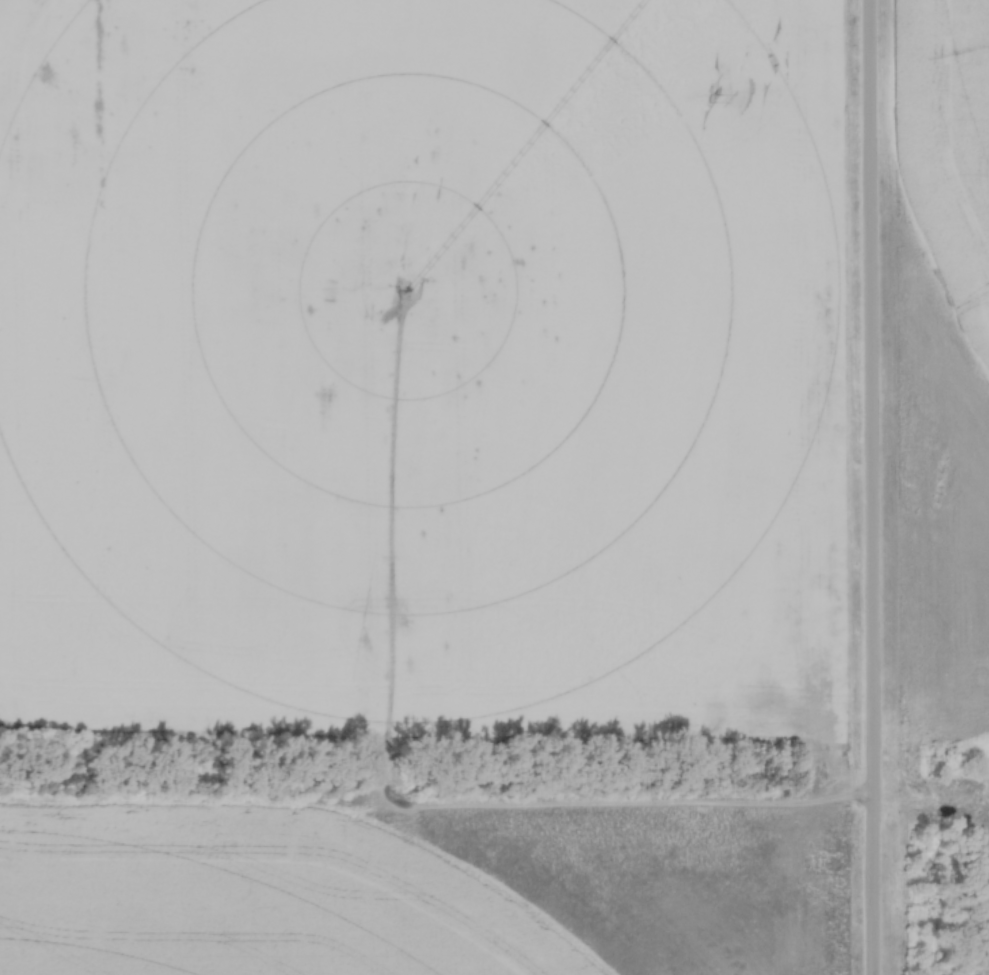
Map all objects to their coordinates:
power tower: (713, 100)
road: (879, 487)

